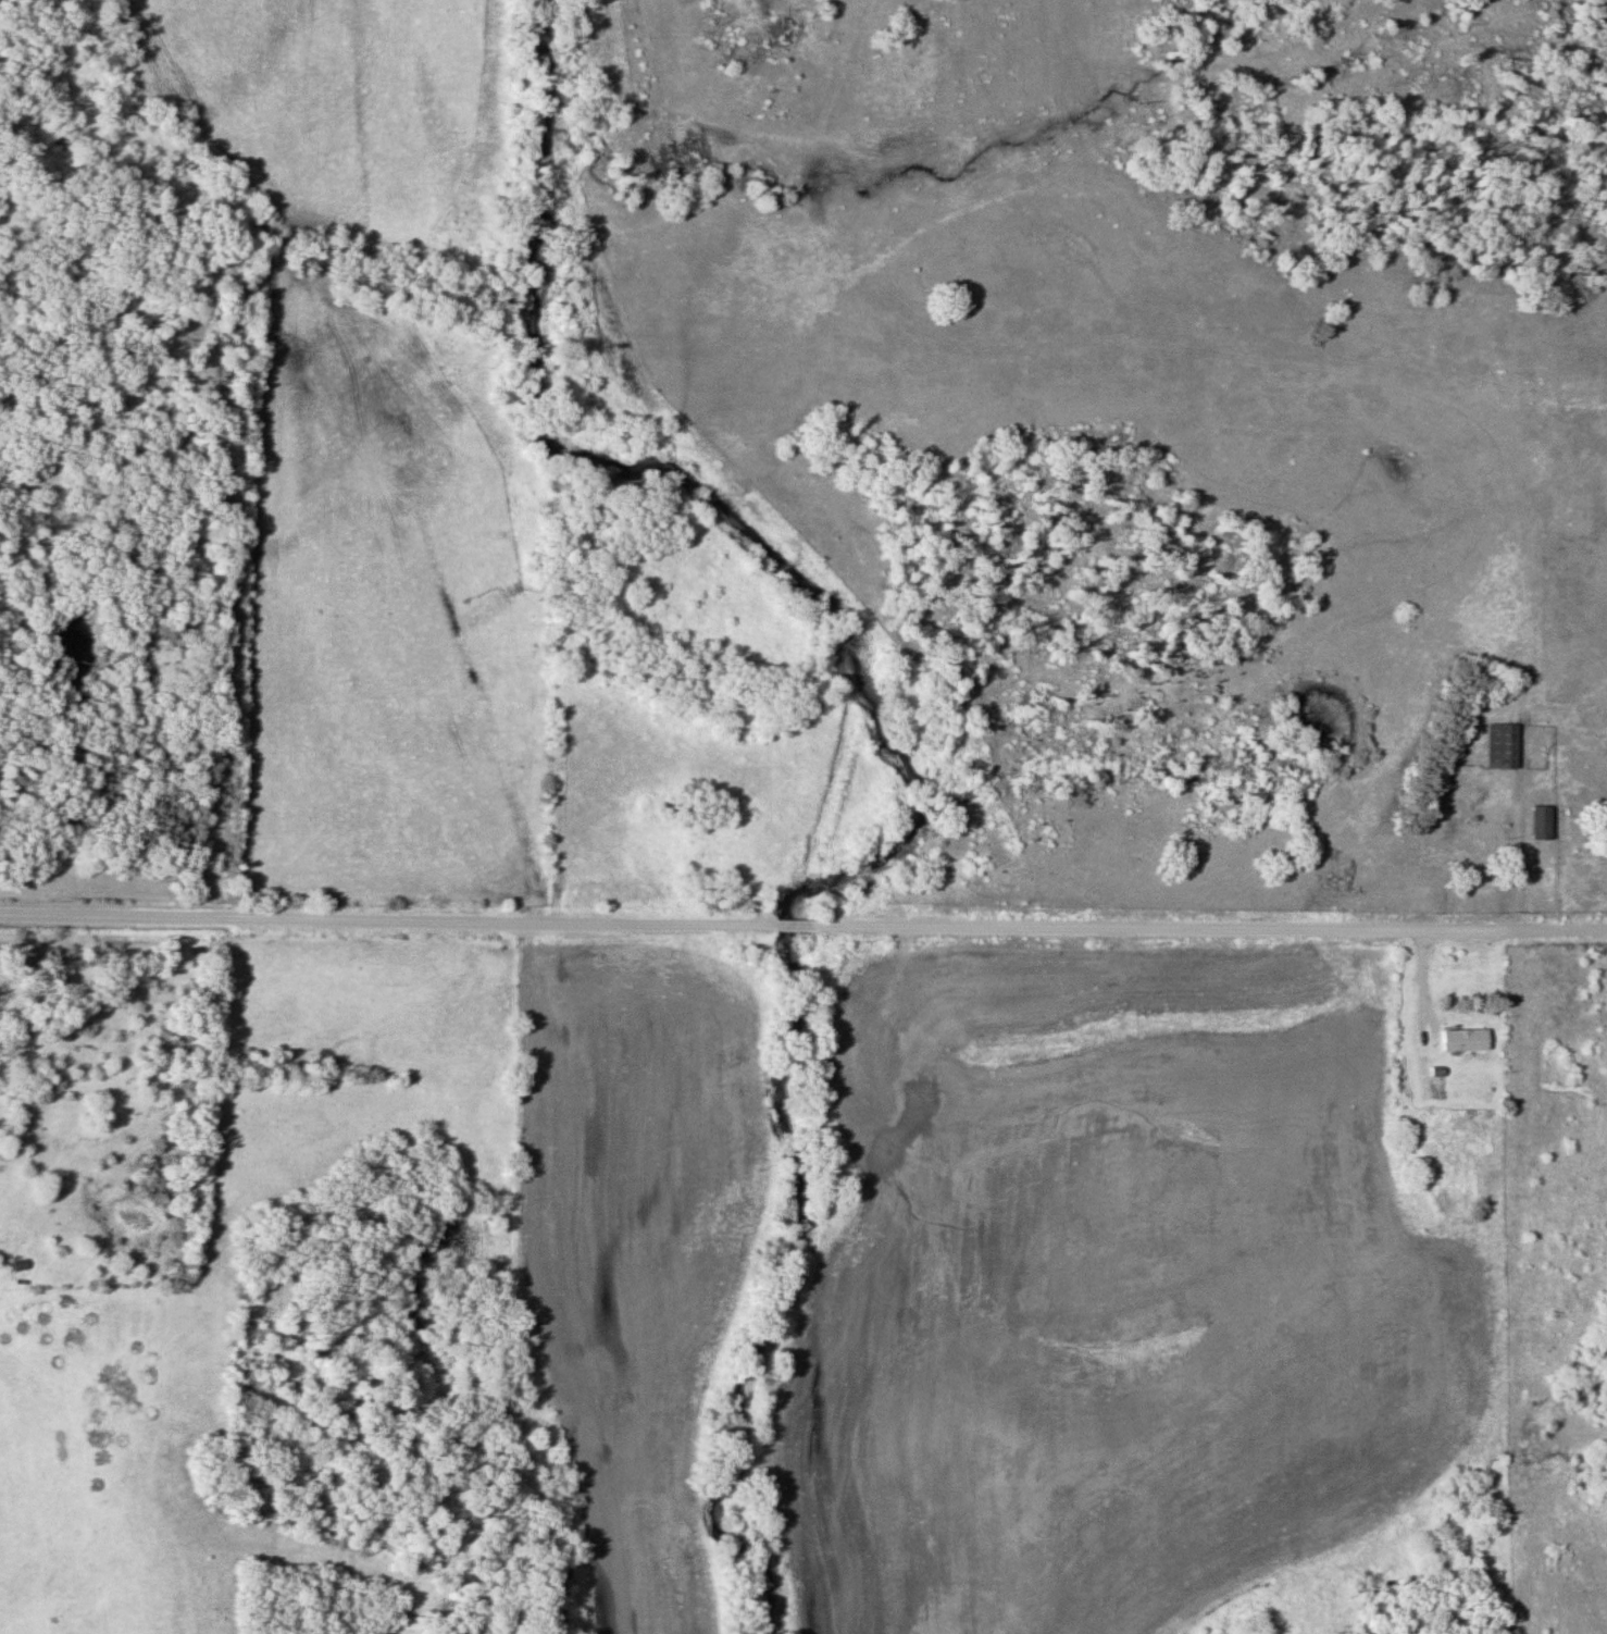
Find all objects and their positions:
building: (1596, 711)
building: (1499, 748)
building: (1536, 825)
building: (1473, 891)
road: (802, 927)
building: (1460, 1041)
building: (1442, 1088)

